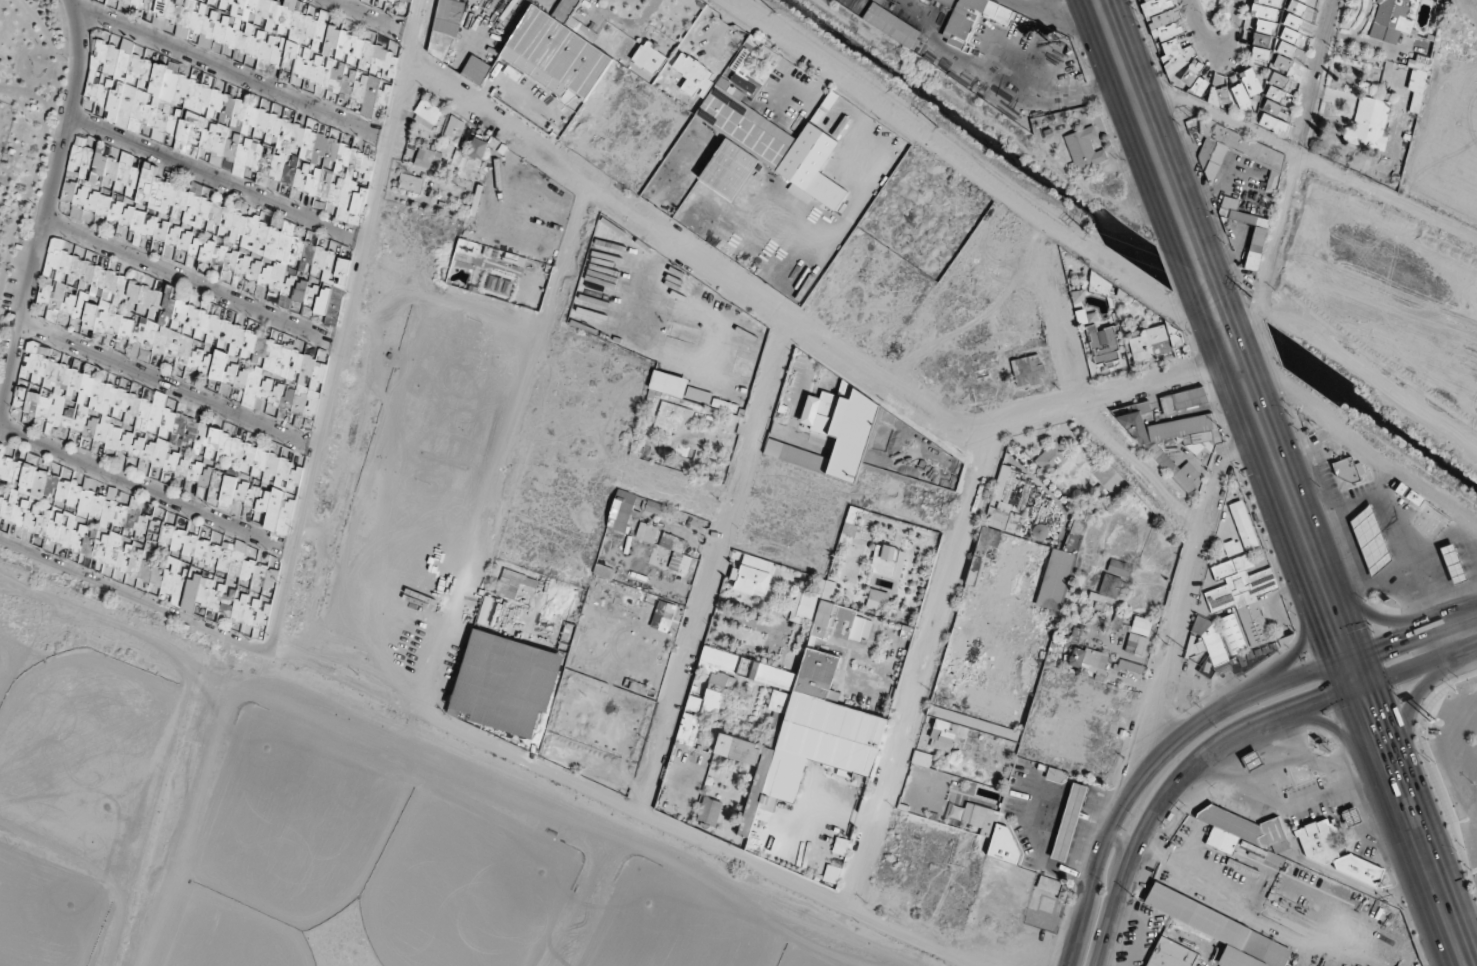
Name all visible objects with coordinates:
gas station: (1389, 522)
parking lot: (1457, 748)
gas station: (1069, 821)

